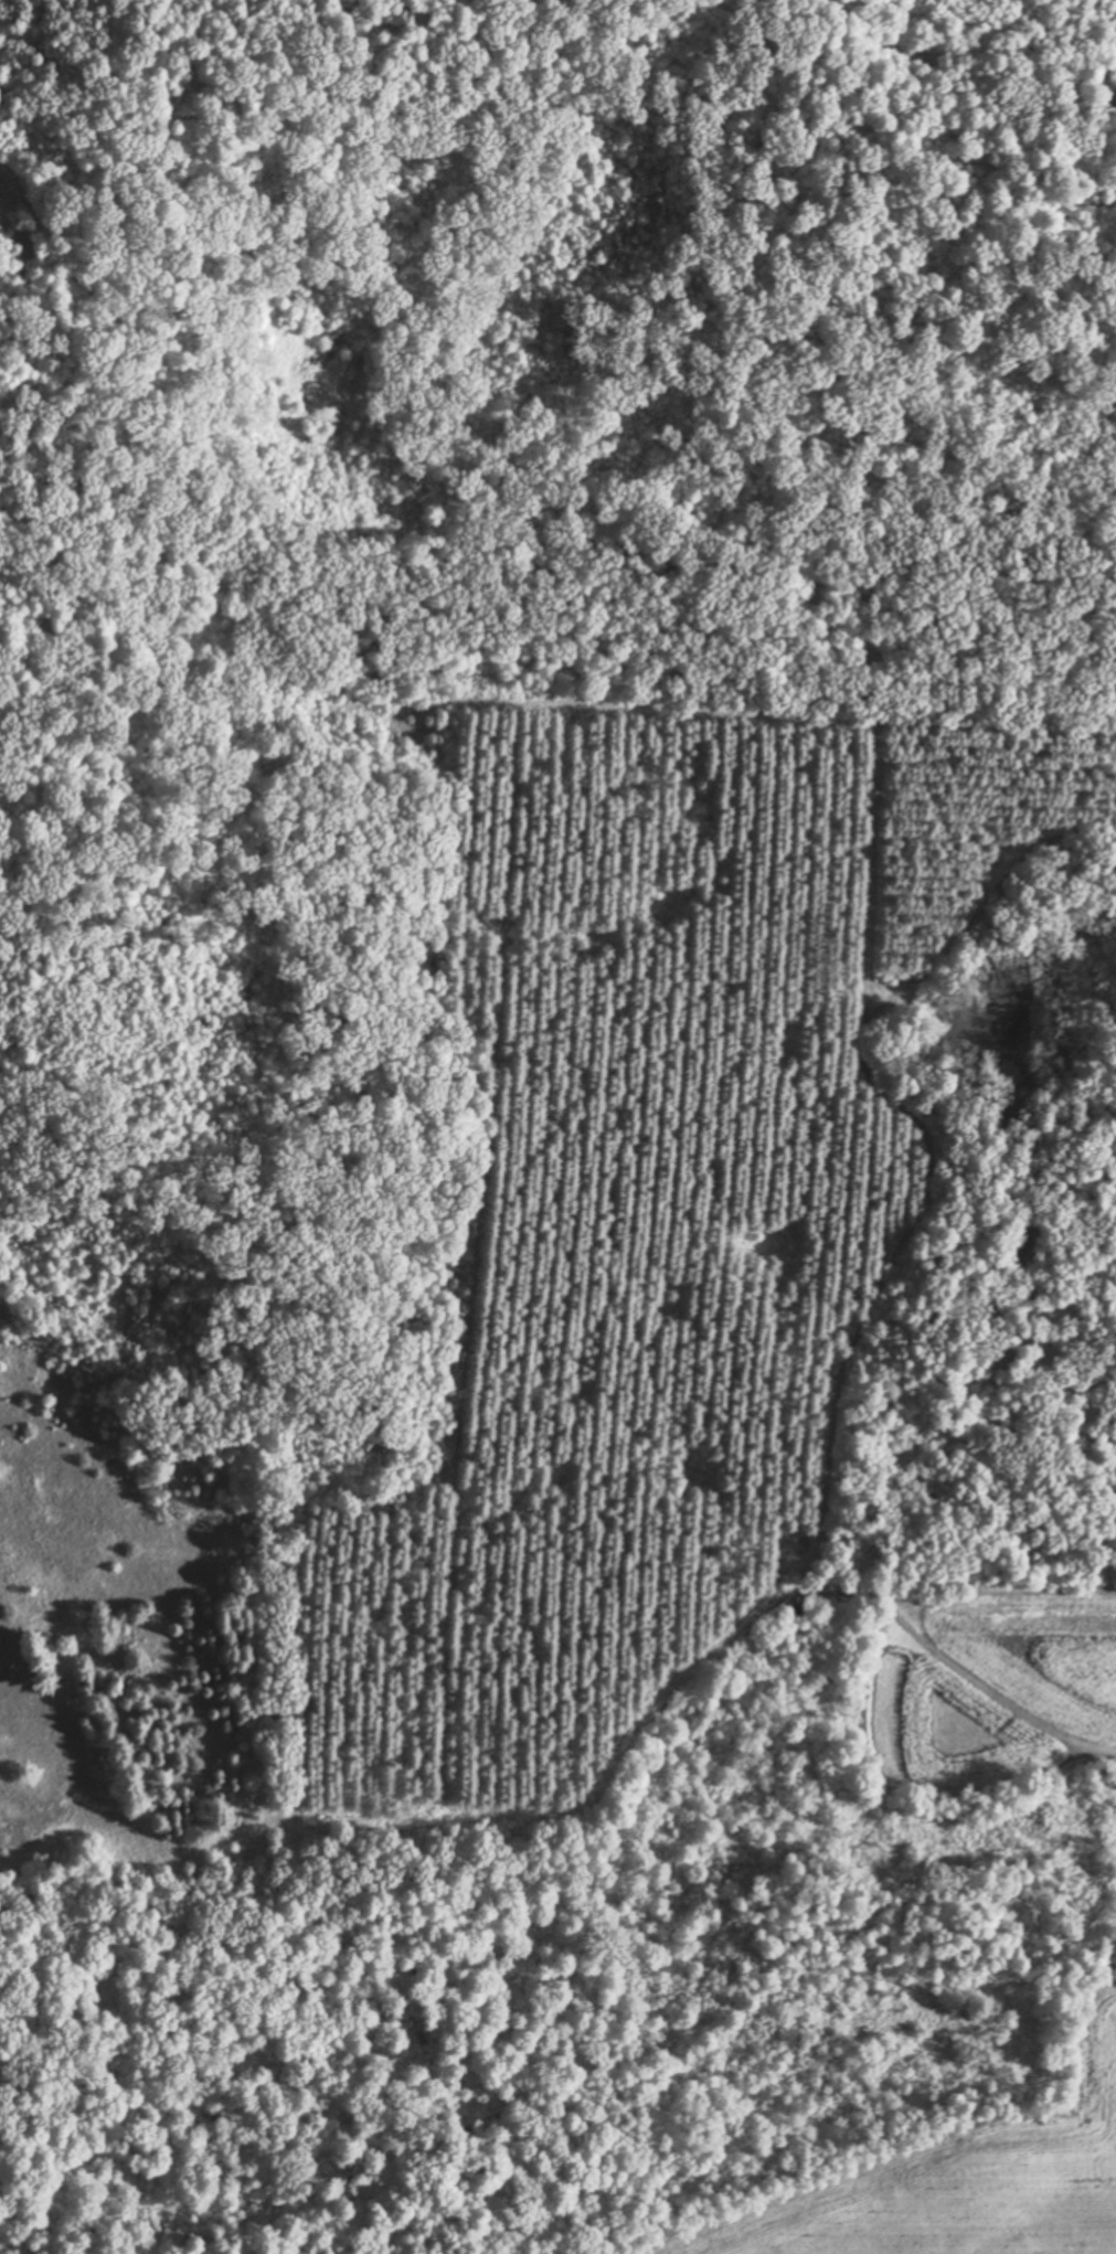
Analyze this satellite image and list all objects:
road: (14, 2218)

